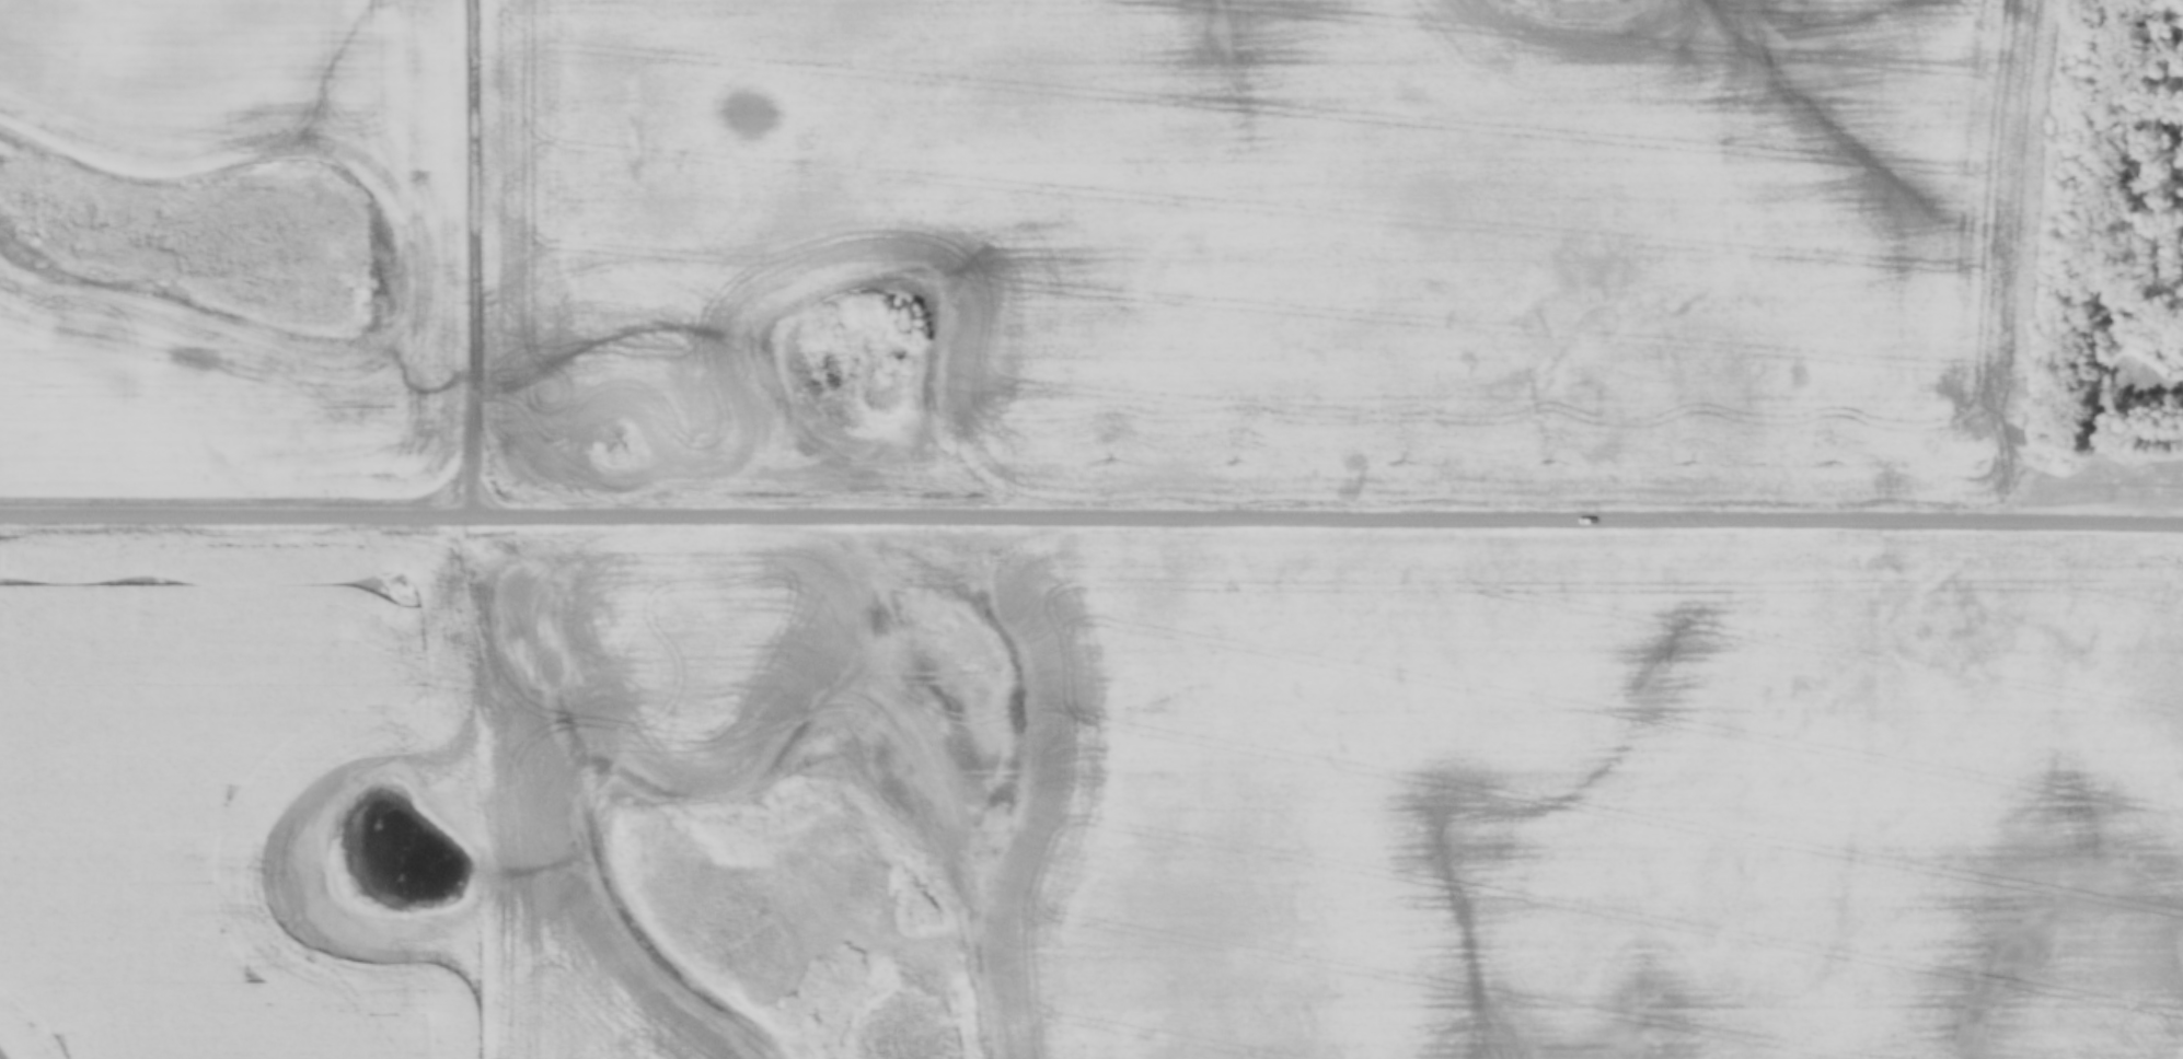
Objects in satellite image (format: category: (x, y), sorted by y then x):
road: (473, 256)
road: (1091, 516)

